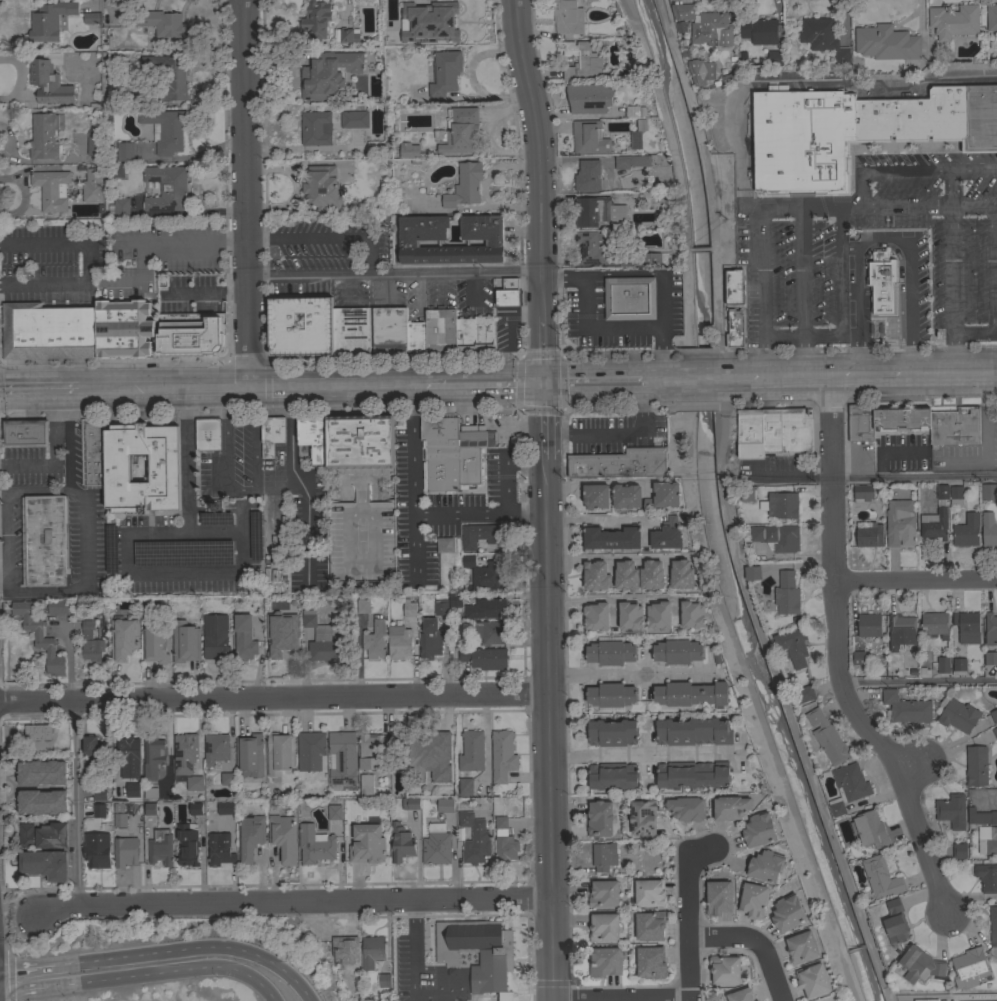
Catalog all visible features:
building: (683, 11)
building: (567, 16)
building: (991, 17)
building: (92, 18)
building: (317, 18)
road: (664, 19)
building: (49, 20)
building: (430, 21)
building: (954, 21)
building: (160, 23)
building: (712, 29)
building: (759, 31)
building: (349, 35)
building: (823, 38)
building: (886, 42)
building: (775, 57)
building: (581, 60)
building: (701, 71)
building: (327, 73)
building: (445, 73)
building: (168, 76)
building: (49, 79)
road: (820, 79)
building: (588, 98)
building: (632, 111)
building: (353, 119)
road: (666, 119)
building: (316, 128)
building: (165, 130)
building: (460, 131)
building: (636, 134)
building: (45, 135)
building: (589, 137)
road: (701, 141)
building: (852, 141)
building: (94, 143)
building: (406, 150)
building: (124, 151)
road: (194, 153)
building: (631, 161)
road: (914, 169)
building: (117, 171)
building: (587, 176)
building: (92, 185)
building: (464, 185)
road: (952, 186)
building: (166, 188)
building: (322, 188)
building: (52, 189)
road: (540, 189)
road: (247, 193)
road: (797, 206)
building: (119, 207)
building: (597, 211)
road: (231, 239)
building: (422, 239)
road: (129, 241)
building: (590, 246)
road: (711, 247)
road: (700, 248)
road: (689, 249)
building: (655, 258)
building: (627, 261)
road: (87, 267)
road: (995, 267)
road: (394, 270)
road: (623, 273)
road: (386, 283)
road: (440, 283)
building: (881, 283)
road: (350, 285)
building: (734, 286)
road: (420, 287)
road: (475, 287)
road: (952, 287)
road: (801, 290)
road: (205, 292)
building: (508, 292)
road: (688, 296)
road: (908, 296)
road: (859, 297)
building: (629, 298)
road: (717, 311)
building: (318, 321)
road: (605, 325)
building: (123, 328)
building: (389, 328)
building: (350, 330)
building: (440, 330)
building: (735, 330)
building: (47, 331)
building: (483, 332)
road: (975, 332)
building: (190, 333)
building: (464, 334)
building: (415, 338)
road: (779, 349)
road: (394, 358)
road: (114, 360)
road: (247, 360)
road: (942, 372)
road: (596, 374)
road: (858, 374)
road: (789, 375)
road: (734, 376)
road: (698, 378)
road: (662, 380)
traffic signals: (547, 382)
road: (485, 383)
road: (330, 385)
road: (416, 385)
road: (217, 387)
road: (178, 388)
road: (139, 389)
road: (53, 390)
road: (596, 391)
road: (922, 396)
road: (830, 398)
road: (686, 403)
road: (60, 404)
road: (524, 406)
building: (901, 417)
road: (546, 420)
building: (860, 422)
building: (953, 427)
road: (618, 429)
building: (786, 430)
building: (26, 433)
building: (271, 433)
building: (750, 433)
building: (208, 434)
building: (476, 436)
building: (314, 437)
road: (673, 439)
building: (360, 441)
road: (411, 450)
road: (67, 452)
building: (440, 452)
building: (93, 454)
road: (524, 454)
building: (620, 463)
road: (50, 464)
building: (469, 464)
building: (163, 468)
road: (914, 476)
road: (789, 477)
road: (598, 482)
road: (504, 486)
road: (37, 488)
road: (3, 489)
building: (942, 491)
building: (988, 491)
building: (747, 493)
building: (862, 493)
building: (666, 494)
road: (244, 495)
building: (955, 495)
building: (595, 496)
building: (626, 496)
building: (645, 504)
building: (783, 505)
road: (480, 516)
road: (598, 520)
building: (996, 520)
building: (897, 523)
building: (934, 524)
building: (988, 529)
road: (214, 530)
building: (966, 530)
building: (666, 533)
building: (869, 534)
building: (479, 535)
building: (777, 536)
building: (611, 538)
road: (6, 539)
building: (44, 539)
road: (128, 540)
building: (444, 544)
road: (414, 548)
road: (608, 557)
building: (626, 572)
building: (752, 572)
road: (84, 573)
building: (486, 573)
building: (681, 574)
building: (595, 575)
road: (3, 577)
road: (915, 579)
building: (787, 593)
building: (455, 600)
building: (293, 604)
building: (58, 606)
building: (362, 606)
building: (441, 607)
building: (409, 608)
building: (489, 608)
building: (630, 610)
building: (692, 614)
building: (596, 615)
building: (935, 624)
building: (869, 625)
building: (967, 626)
building: (990, 629)
building: (490, 631)
building: (901, 631)
building: (39, 637)
building: (123, 638)
building: (216, 638)
building: (244, 638)
building: (430, 638)
building: (374, 639)
building: (281, 640)
building: (321, 640)
building: (185, 642)
building: (398, 642)
building: (90, 643)
building: (155, 644)
building: (792, 646)
building: (677, 651)
building: (610, 652)
road: (839, 656)
building: (858, 657)
building: (484, 658)
building: (990, 658)
building: (941, 664)
building: (959, 664)
road: (626, 673)
road: (919, 681)
road: (783, 693)
building: (691, 694)
building: (803, 694)
building: (611, 695)
road: (273, 697)
building: (906, 708)
road: (757, 709)
building: (994, 715)
building: (958, 716)
road: (549, 730)
building: (693, 731)
building: (995, 731)
building: (37, 732)
building: (612, 732)
building: (828, 737)
building: (435, 745)
building: (95, 747)
building: (216, 748)
building: (310, 750)
building: (372, 751)
building: (471, 751)
road: (638, 752)
building: (279, 753)
building: (250, 754)
building: (184, 755)
building: (503, 755)
building: (128, 756)
building: (153, 756)
building: (342, 757)
building: (976, 765)
road: (912, 769)
building: (612, 775)
building: (692, 775)
building: (227, 779)
building: (194, 782)
building: (60, 784)
building: (366, 784)
building: (443, 786)
building: (465, 786)
building: (848, 786)
building: (125, 789)
building: (99, 793)
building: (150, 793)
road: (76, 803)
building: (410, 803)
building: (445, 805)
building: (225, 807)
building: (731, 807)
building: (150, 808)
building: (194, 808)
building: (686, 808)
building: (99, 810)
building: (334, 810)
building: (951, 810)
building: (981, 816)
building: (642, 817)
building: (599, 818)
building: (120, 820)
building: (758, 829)
building: (869, 829)
building: (43, 835)
building: (249, 837)
building: (283, 837)
building: (474, 839)
building: (987, 839)
building: (400, 842)
building: (504, 842)
building: (187, 844)
building: (315, 844)
building: (367, 844)
building: (436, 844)
building: (160, 847)
building: (219, 849)
building: (959, 850)
building: (125, 851)
building: (97, 855)
building: (604, 856)
building: (44, 864)
building: (767, 866)
building: (881, 877)
building: (986, 877)
building: (649, 892)
building: (603, 893)
building: (717, 897)
building: (753, 900)
road: (291, 901)
building: (787, 913)
road: (689, 916)
road: (2, 917)
building: (895, 922)
building: (649, 925)
building: (993, 925)
building: (604, 926)
road: (753, 942)
building: (801, 946)
road: (414, 947)
road: (189, 948)
building: (345, 949)
building: (372, 951)
building: (495, 957)
building: (605, 962)
building: (651, 962)
building: (919, 964)
building: (969, 967)
building: (724, 968)
road: (27, 969)
road: (167, 974)
road: (8, 976)
building: (384, 980)
building: (813, 980)
road: (24, 989)
building: (742, 994)
road: (428, 996)
park: (948, 996)

